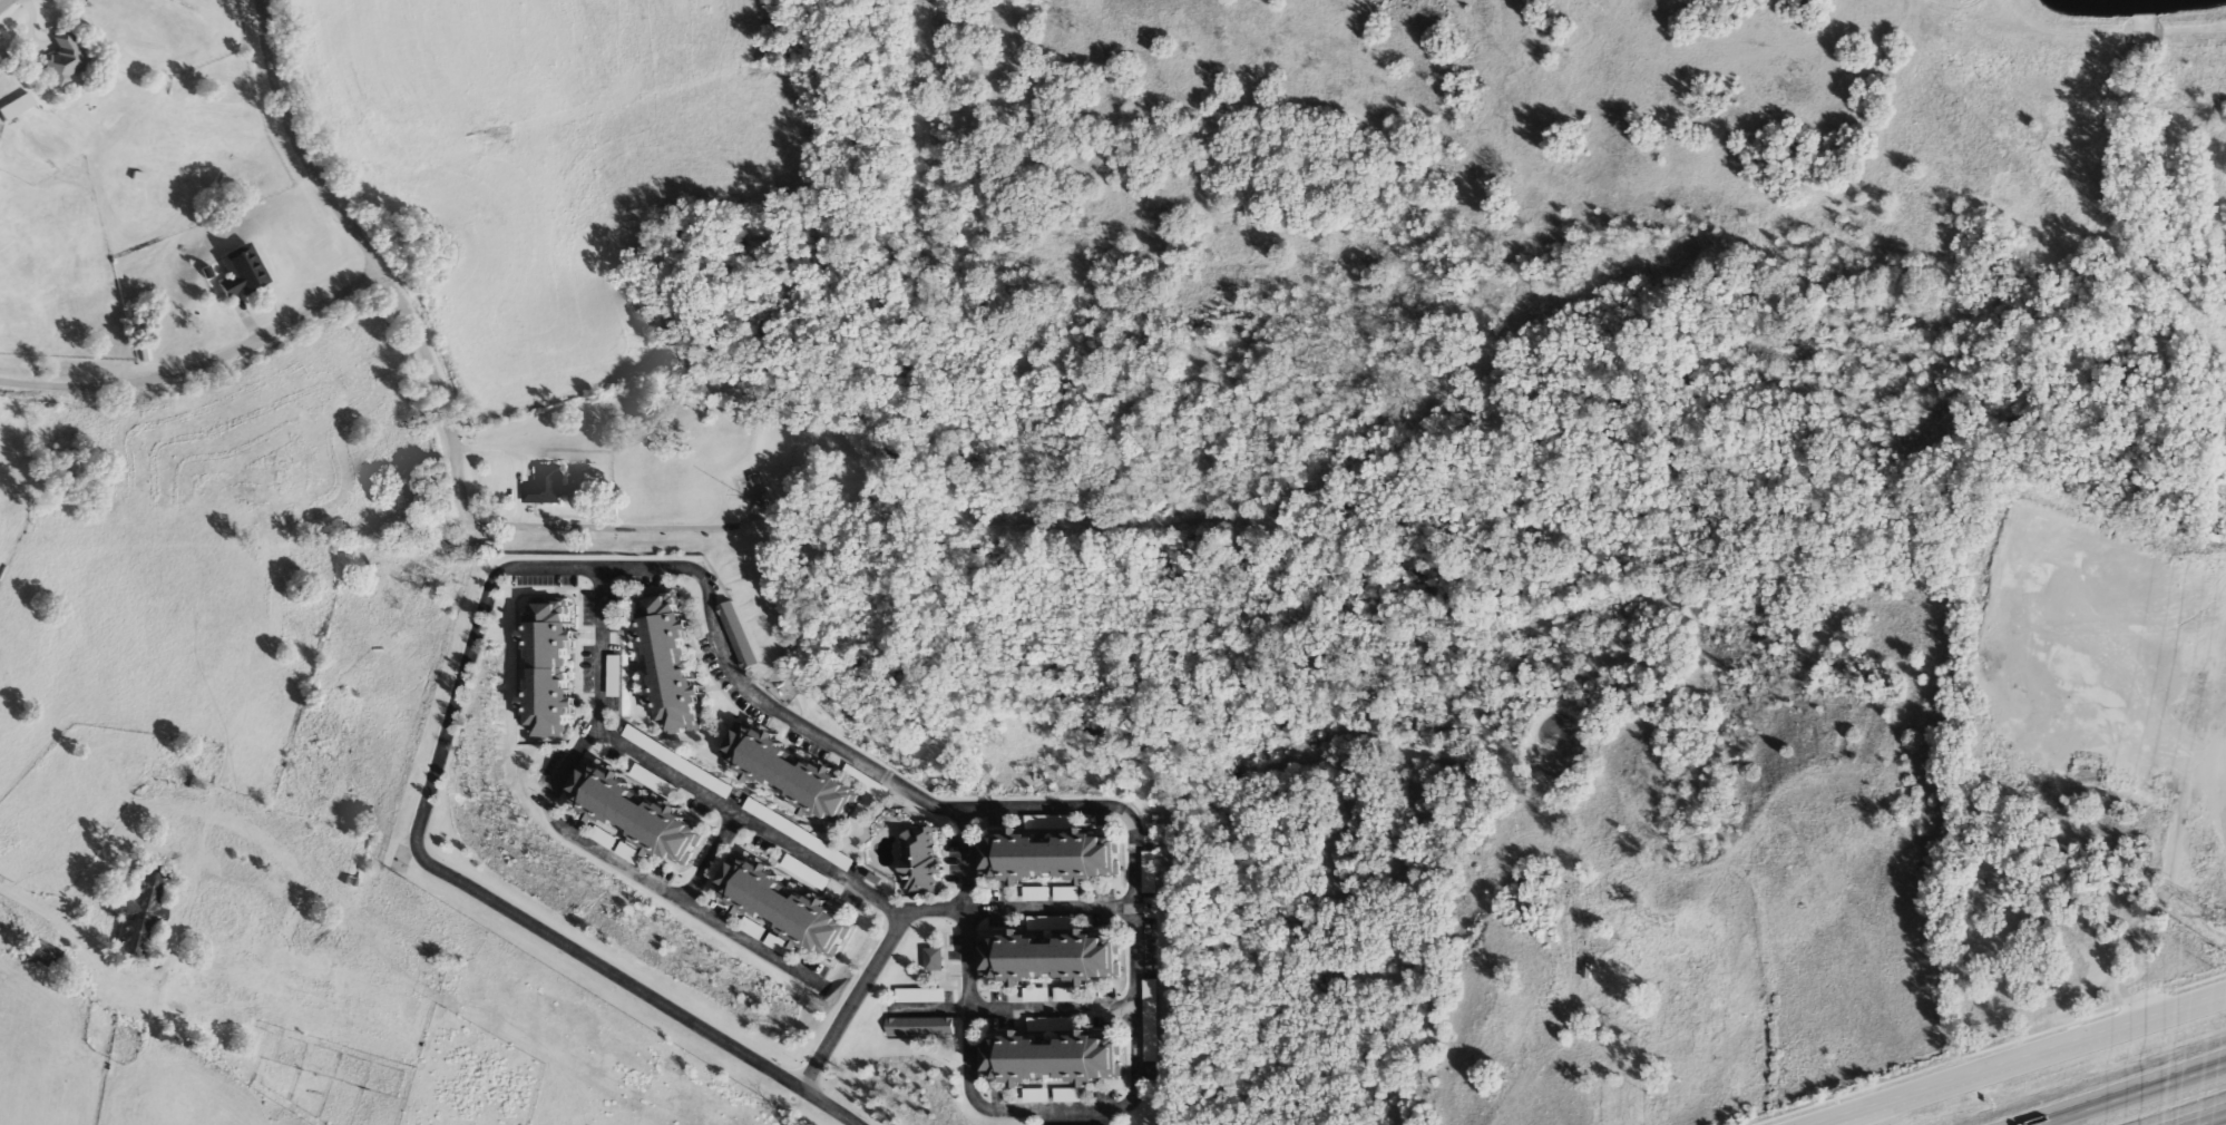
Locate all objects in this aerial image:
road: (7, 4)
building: (59, 58)
building: (12, 107)
road: (368, 255)
building: (234, 273)
road: (199, 369)
building: (543, 487)
road: (623, 520)
building: (735, 636)
building: (664, 661)
building: (539, 672)
road: (842, 752)
building: (783, 775)
building: (859, 783)
building: (637, 815)
road: (749, 822)
road: (572, 832)
road: (711, 859)
building: (1043, 859)
road: (961, 863)
building: (808, 878)
building: (1530, 887)
road: (16, 891)
building: (782, 909)
road: (1048, 911)
power tower: (2219, 920)
building: (2000, 943)
building: (1045, 960)
building: (1676, 971)
building: (1615, 994)
building: (917, 997)
road: (1052, 1007)
building: (1707, 1010)
building: (917, 1028)
road: (1991, 1049)
road: (2023, 1060)
building: (1051, 1062)
road: (2126, 1092)
road: (1908, 1100)
road: (831, 1106)
road: (2213, 1121)

